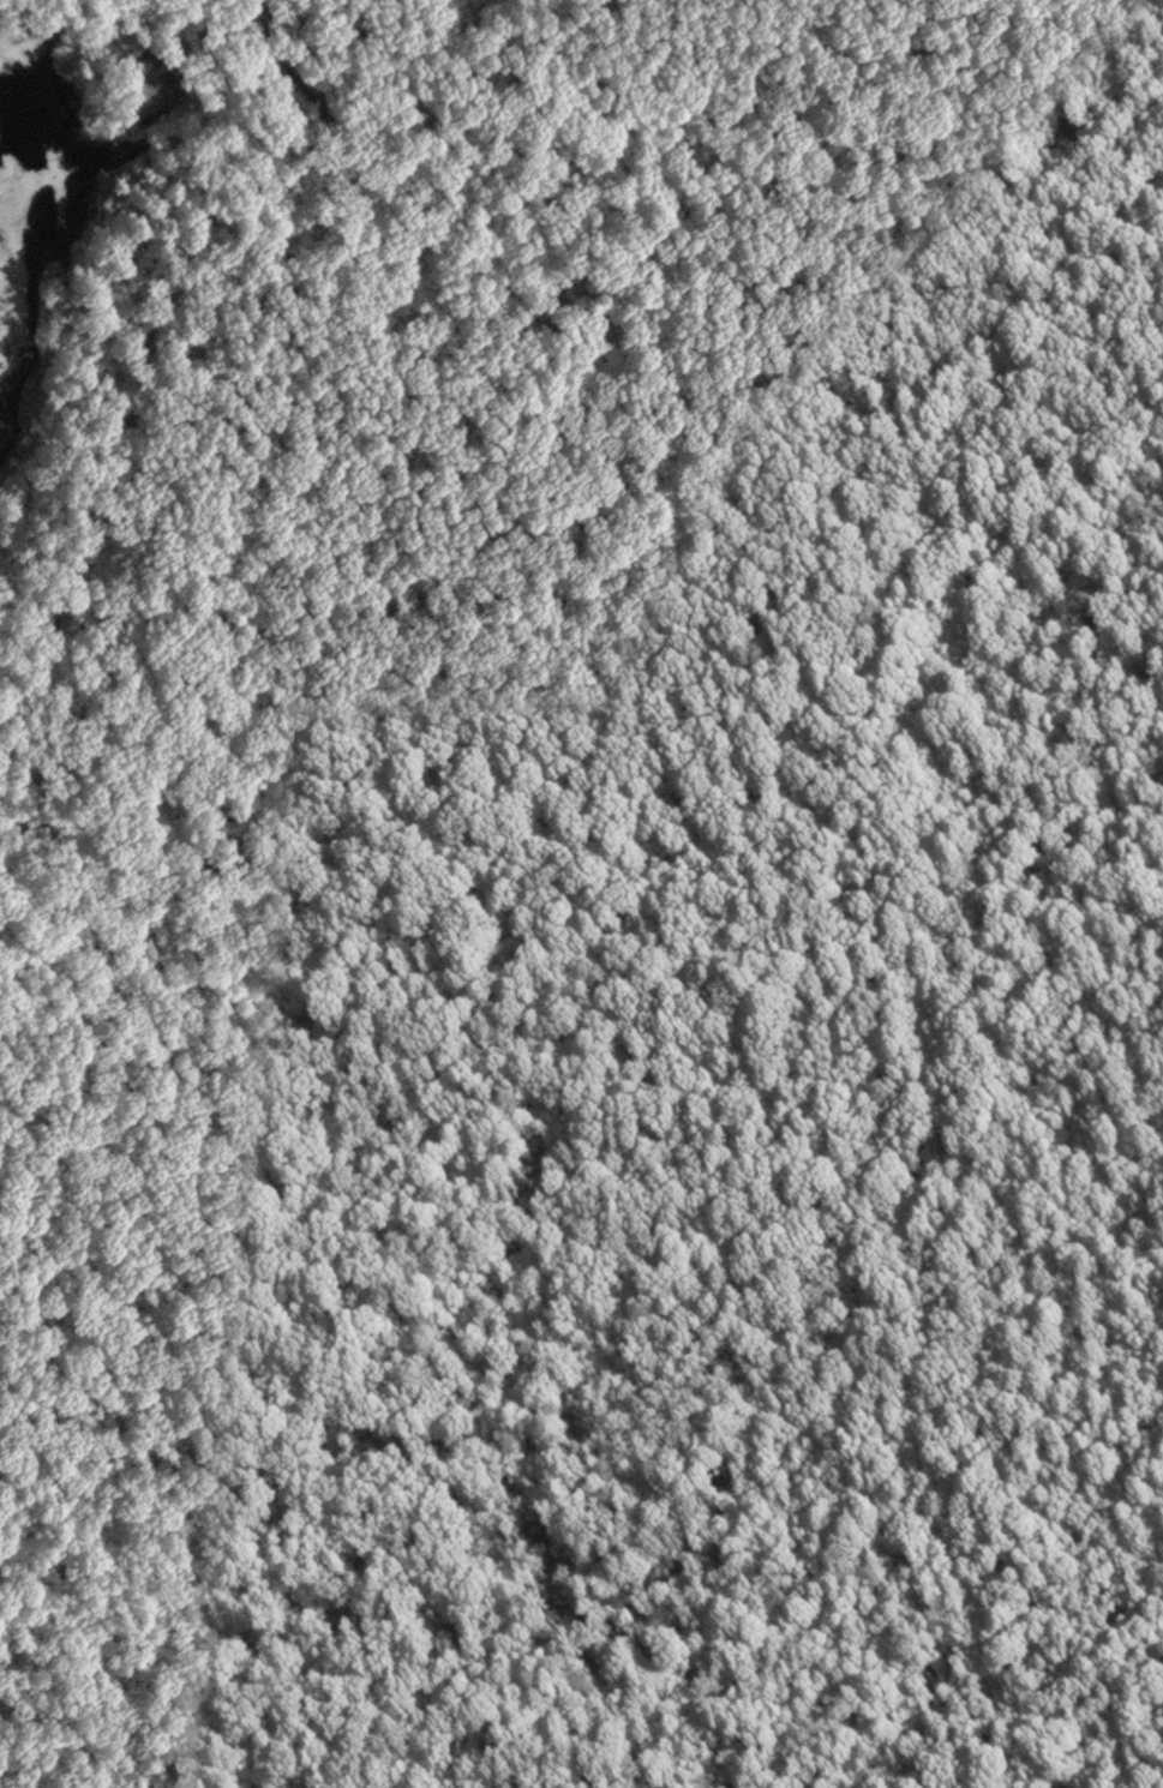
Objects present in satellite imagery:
road: (146, 338)

